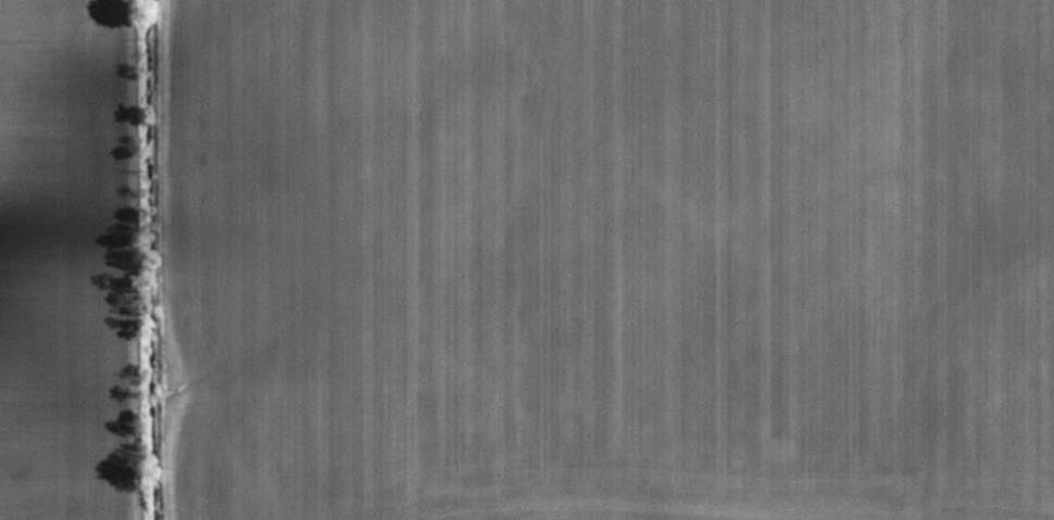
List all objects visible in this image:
crop: (65, 256)
crop: (618, 258)

